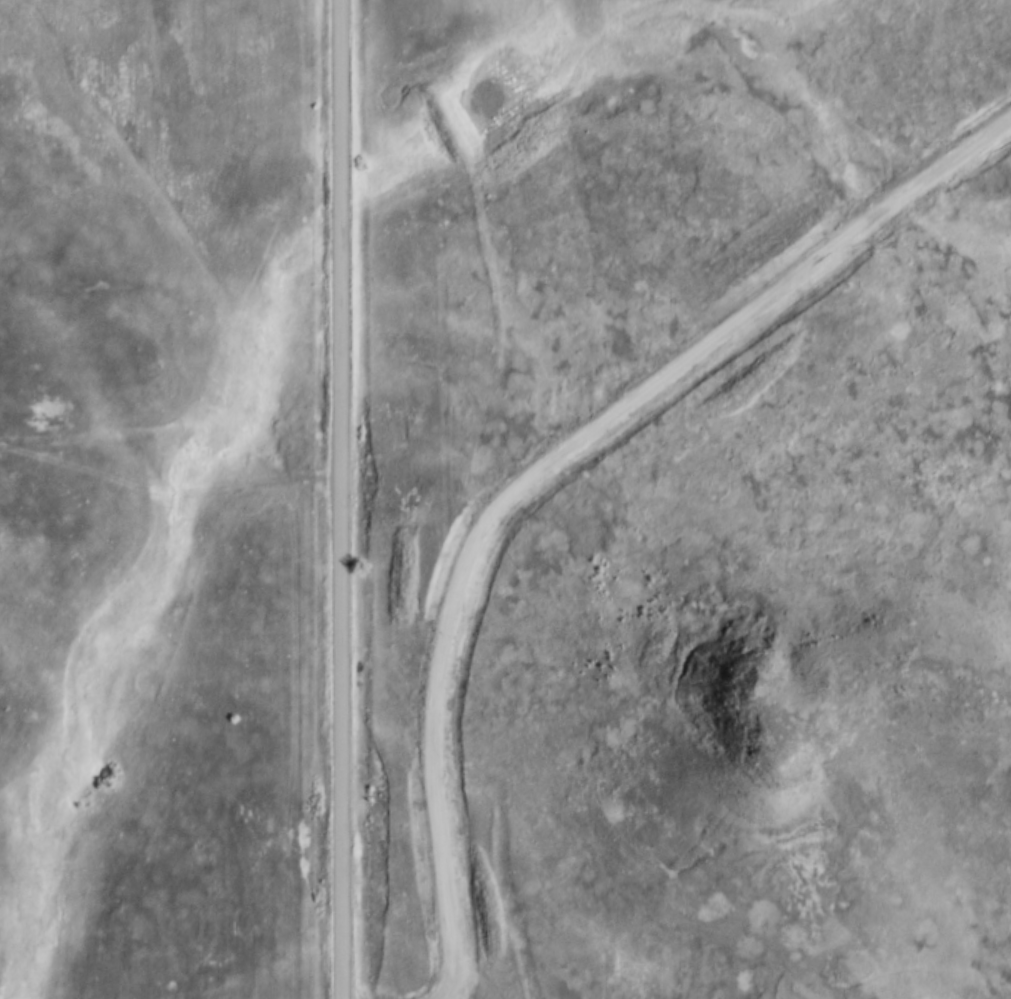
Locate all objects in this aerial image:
road: (340, 499)

